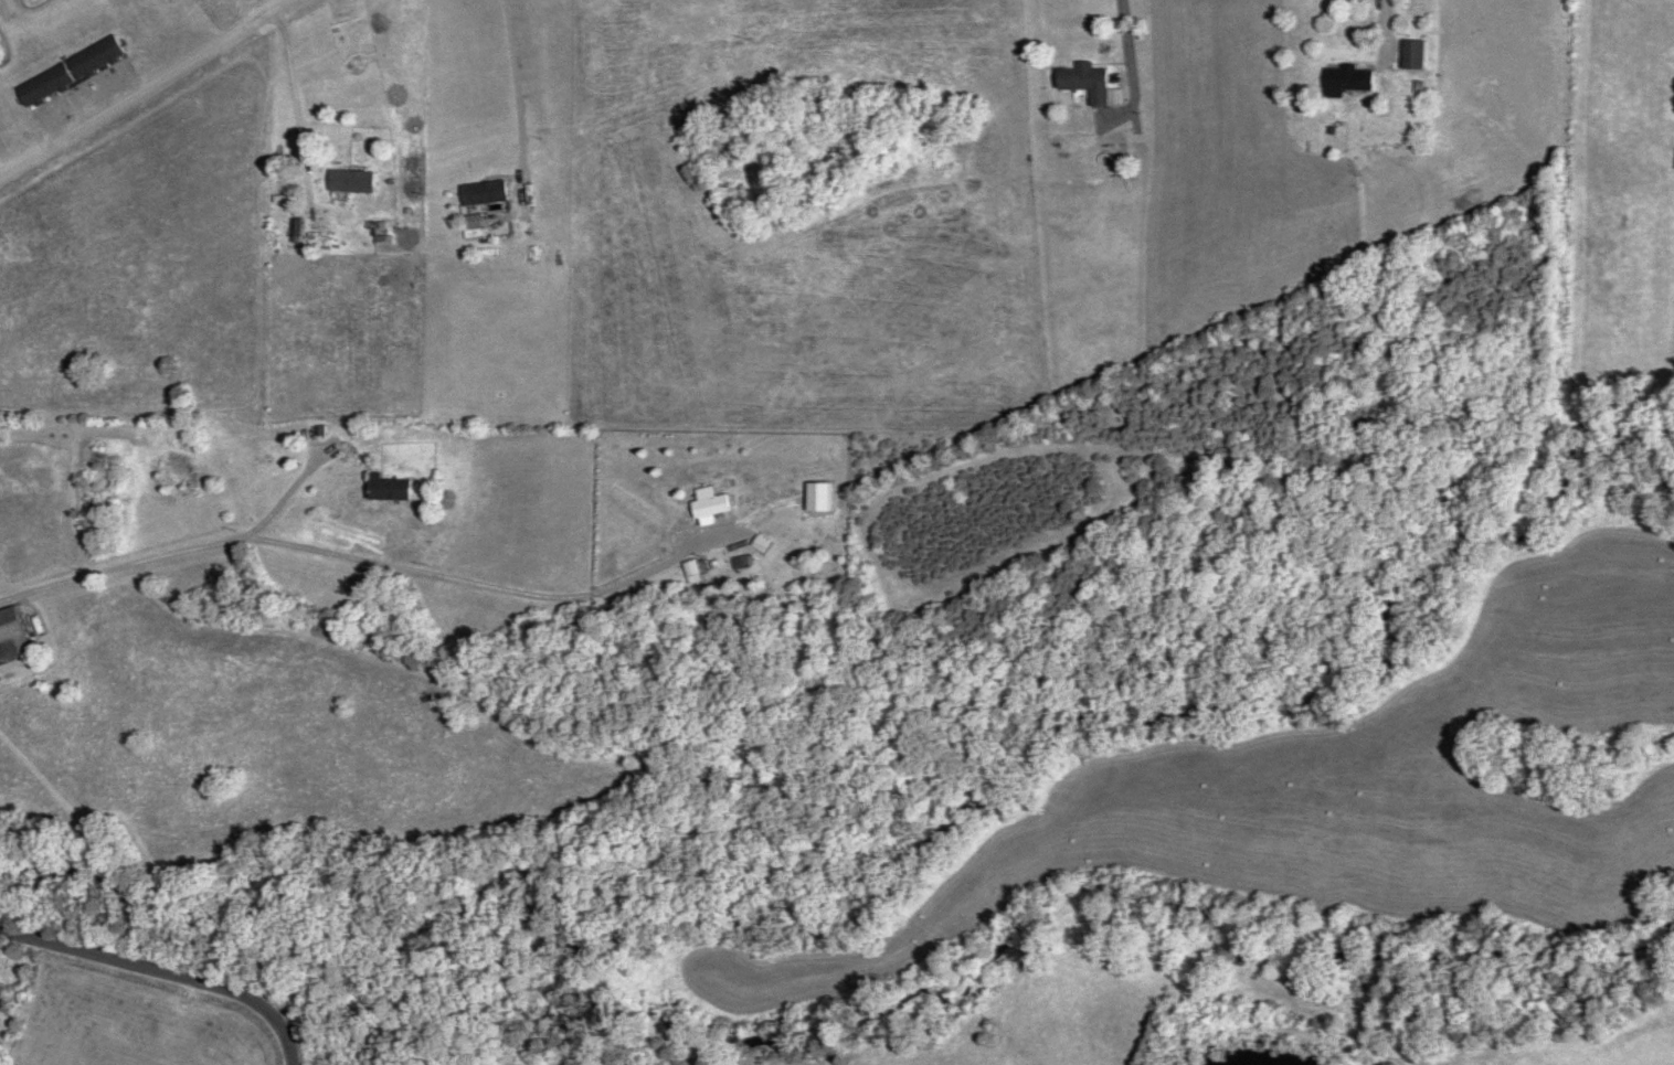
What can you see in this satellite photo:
building: (1413, 51)
building: (97, 55)
building: (1347, 77)
building: (1087, 79)
building: (47, 83)
road: (149, 88)
building: (941, 161)
building: (352, 179)
building: (484, 191)
building: (472, 220)
building: (410, 291)
building: (388, 484)
building: (713, 503)
building: (693, 565)
road: (62, 579)
building: (12, 633)
road: (167, 970)

